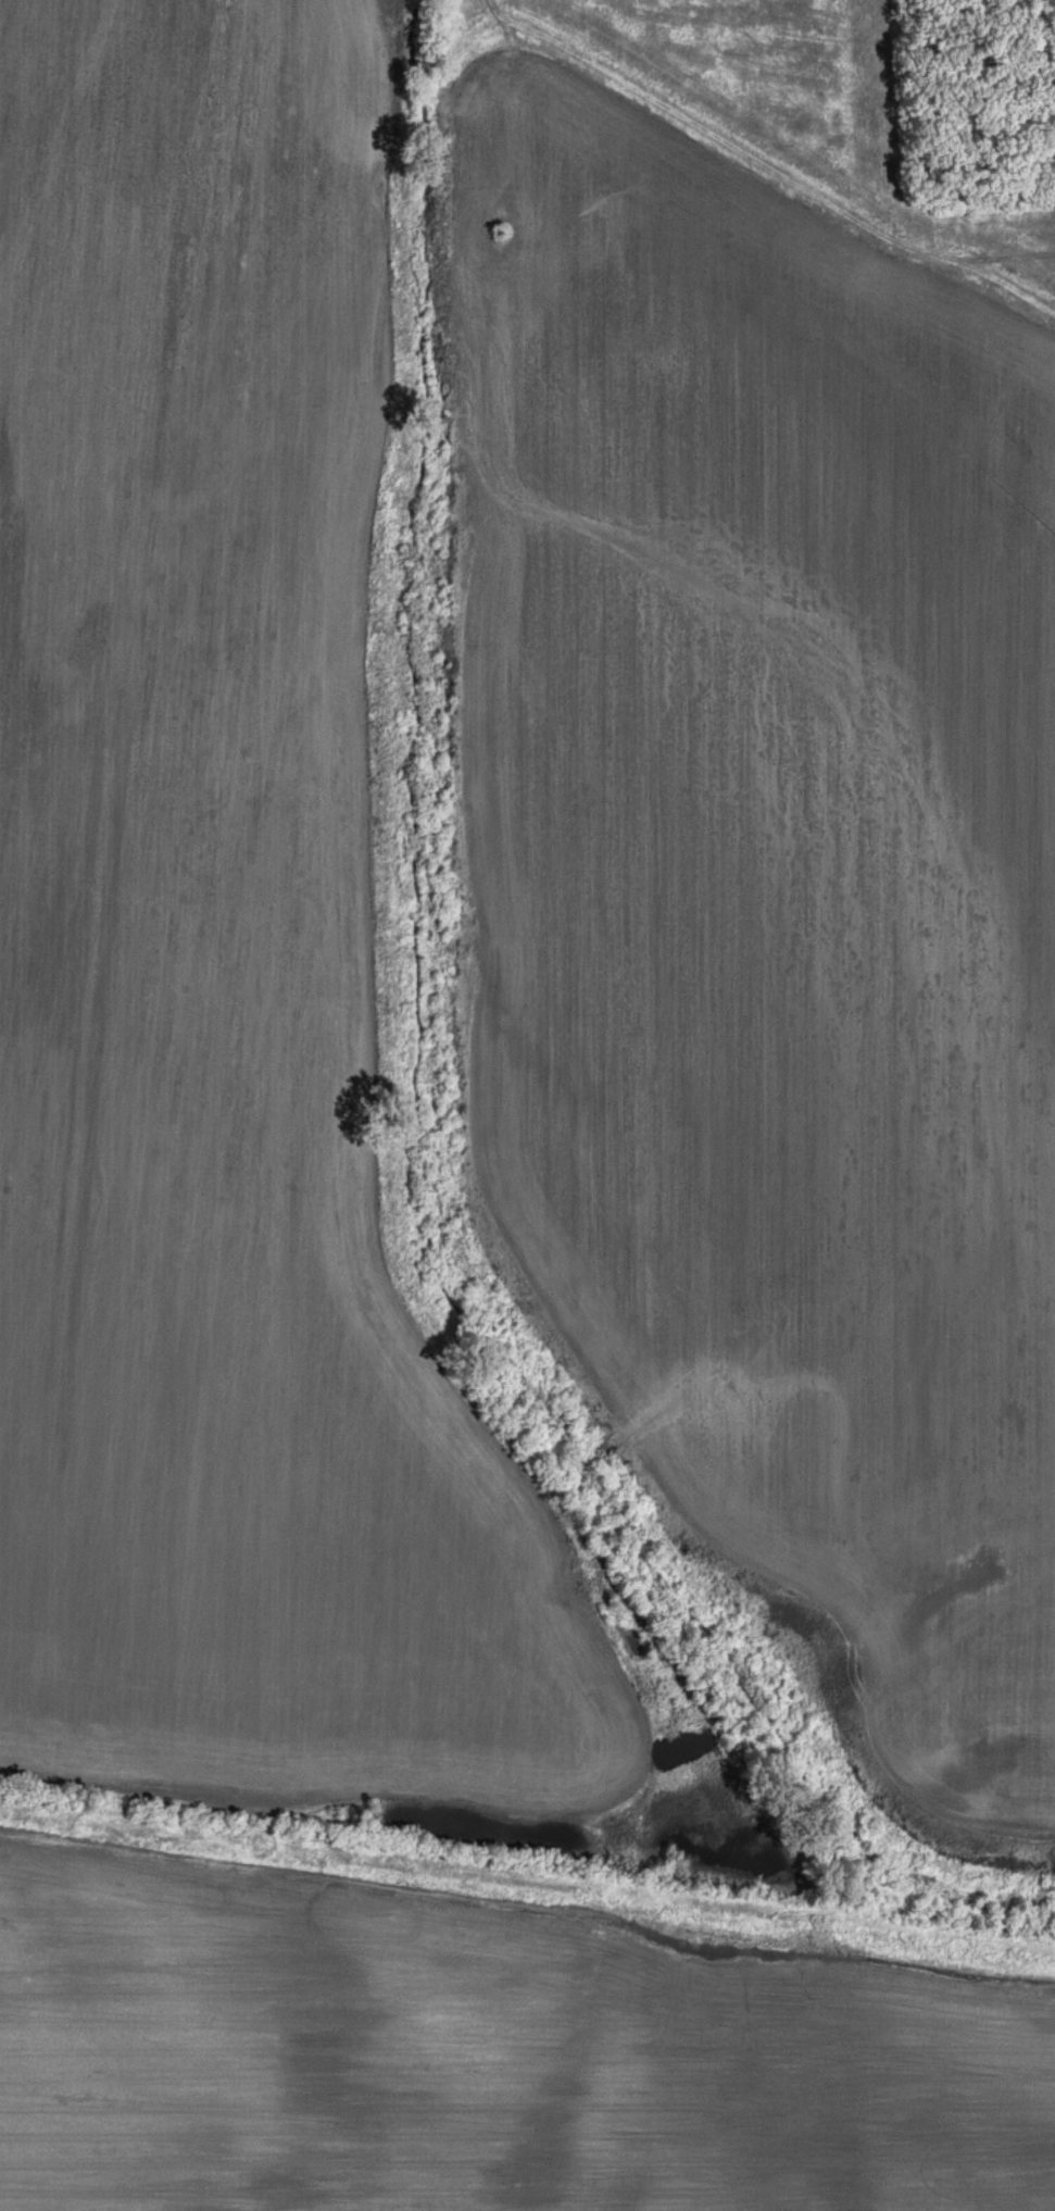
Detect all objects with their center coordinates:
crop: (771, 887)
crop: (478, 2069)

